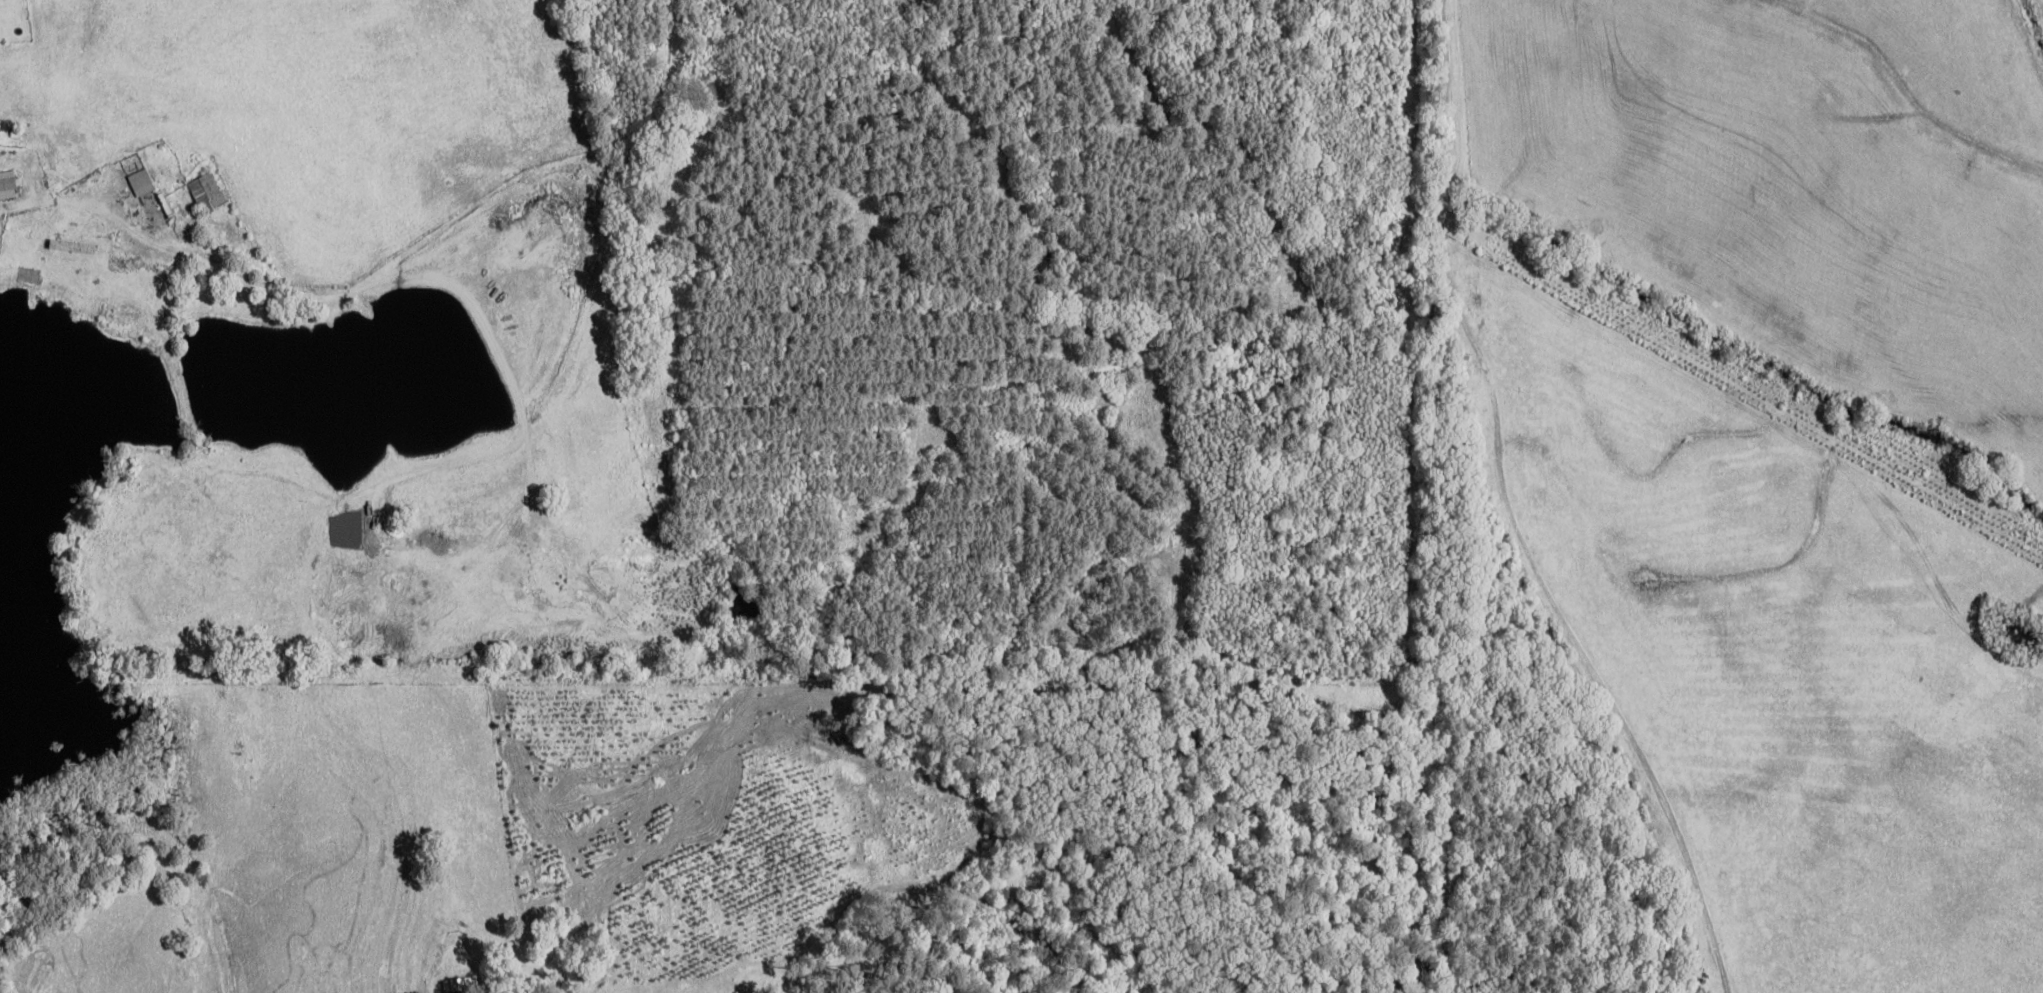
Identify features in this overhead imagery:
building: (71, 169)
building: (8, 182)
building: (209, 195)
road: (28, 204)
building: (153, 207)
building: (32, 276)
road: (1510, 516)

